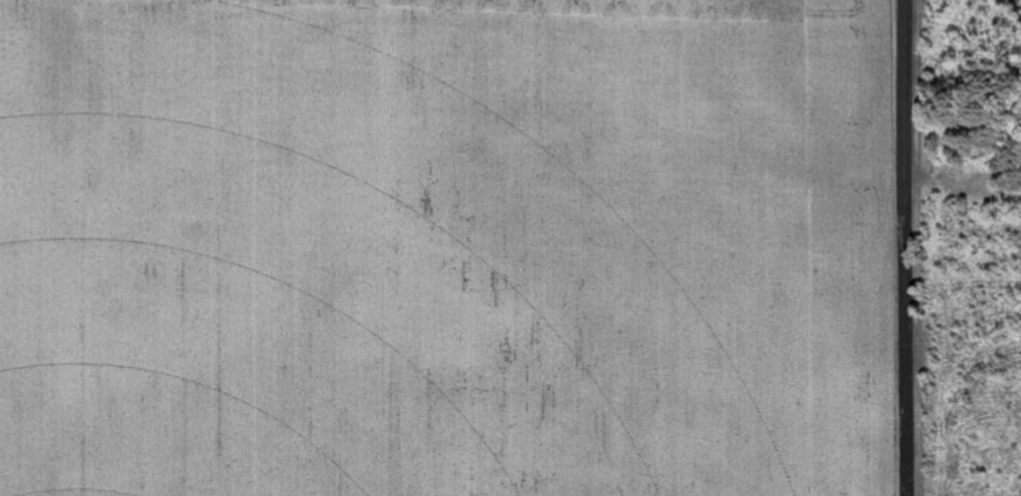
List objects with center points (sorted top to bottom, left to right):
road: (907, 248)

